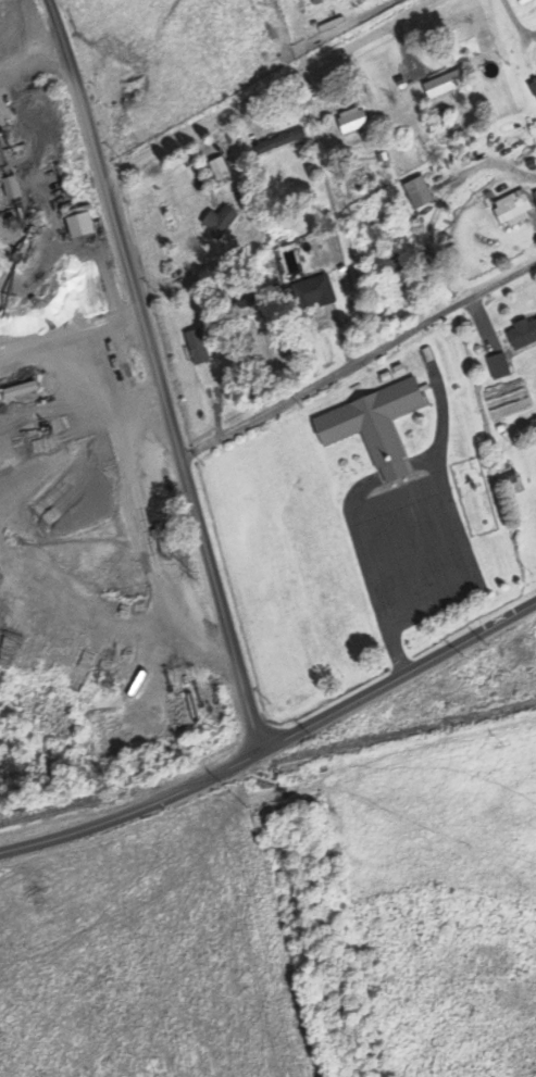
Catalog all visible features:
building: (442, 86)
road: (270, 87)
building: (533, 89)
building: (351, 122)
building: (278, 143)
building: (217, 171)
building: (10, 189)
building: (416, 193)
building: (535, 204)
building: (511, 211)
building: (217, 223)
building: (78, 227)
building: (312, 295)
building: (522, 336)
building: (196, 349)
road: (359, 356)
building: (497, 368)
road: (163, 373)
building: (372, 427)
road: (275, 742)
railway: (267, 763)

